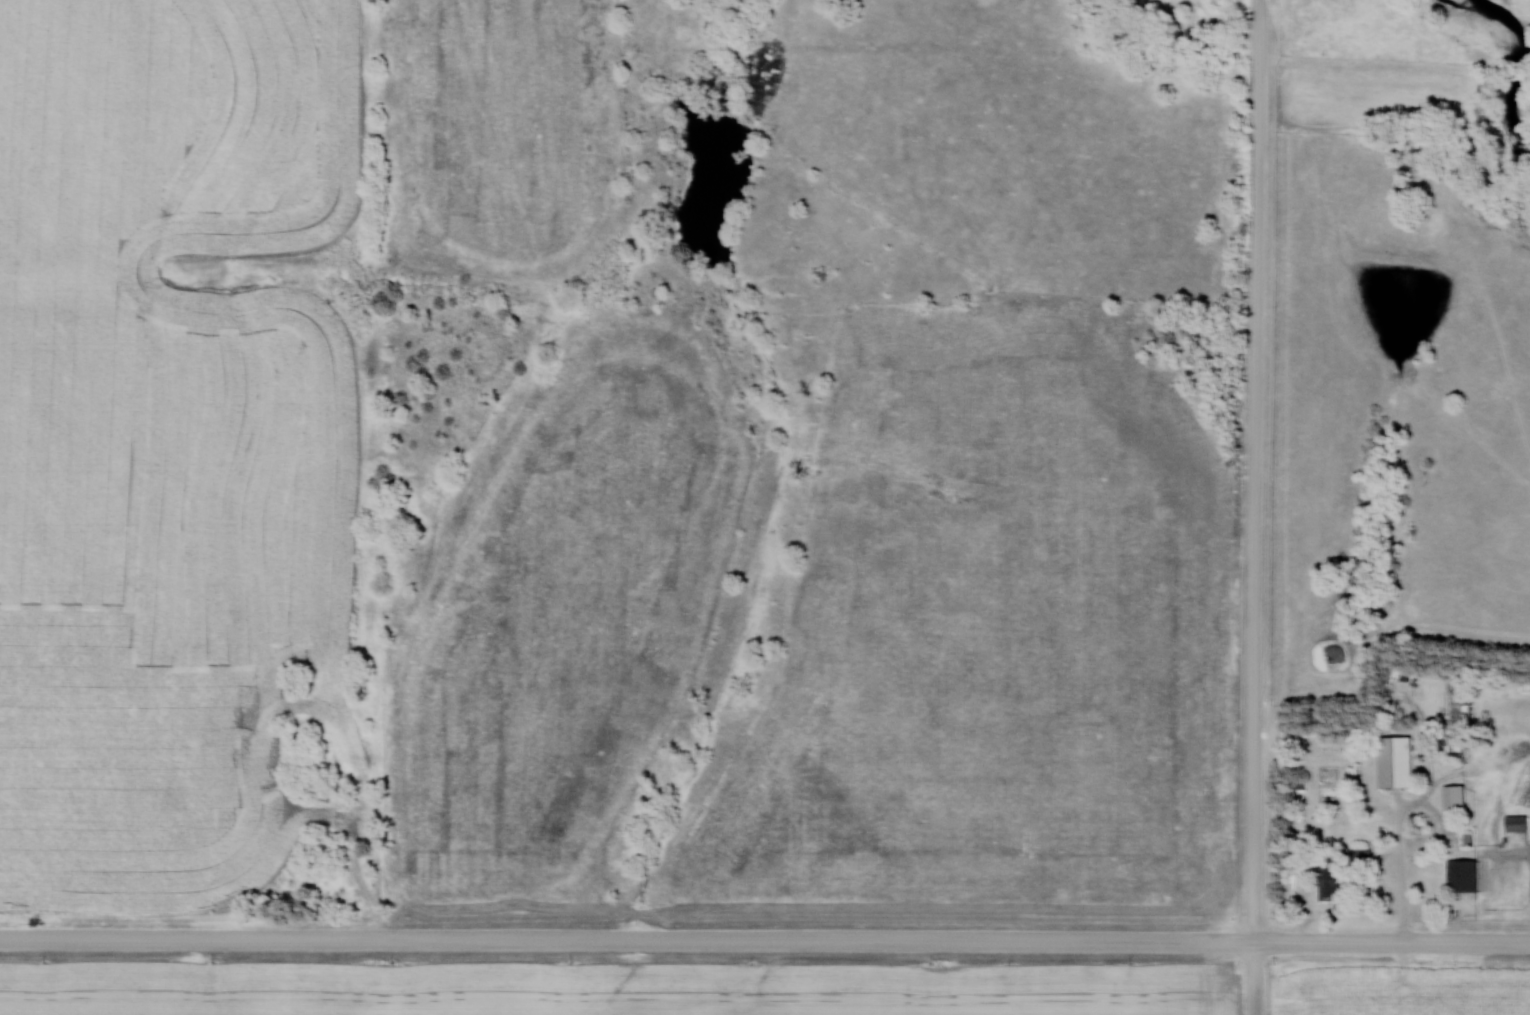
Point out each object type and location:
road: (1256, 507)
building: (1400, 761)
building: (1458, 797)
road: (1424, 805)
building: (1518, 823)
building: (1466, 875)
building: (1334, 880)
road: (1410, 903)
road: (765, 943)

